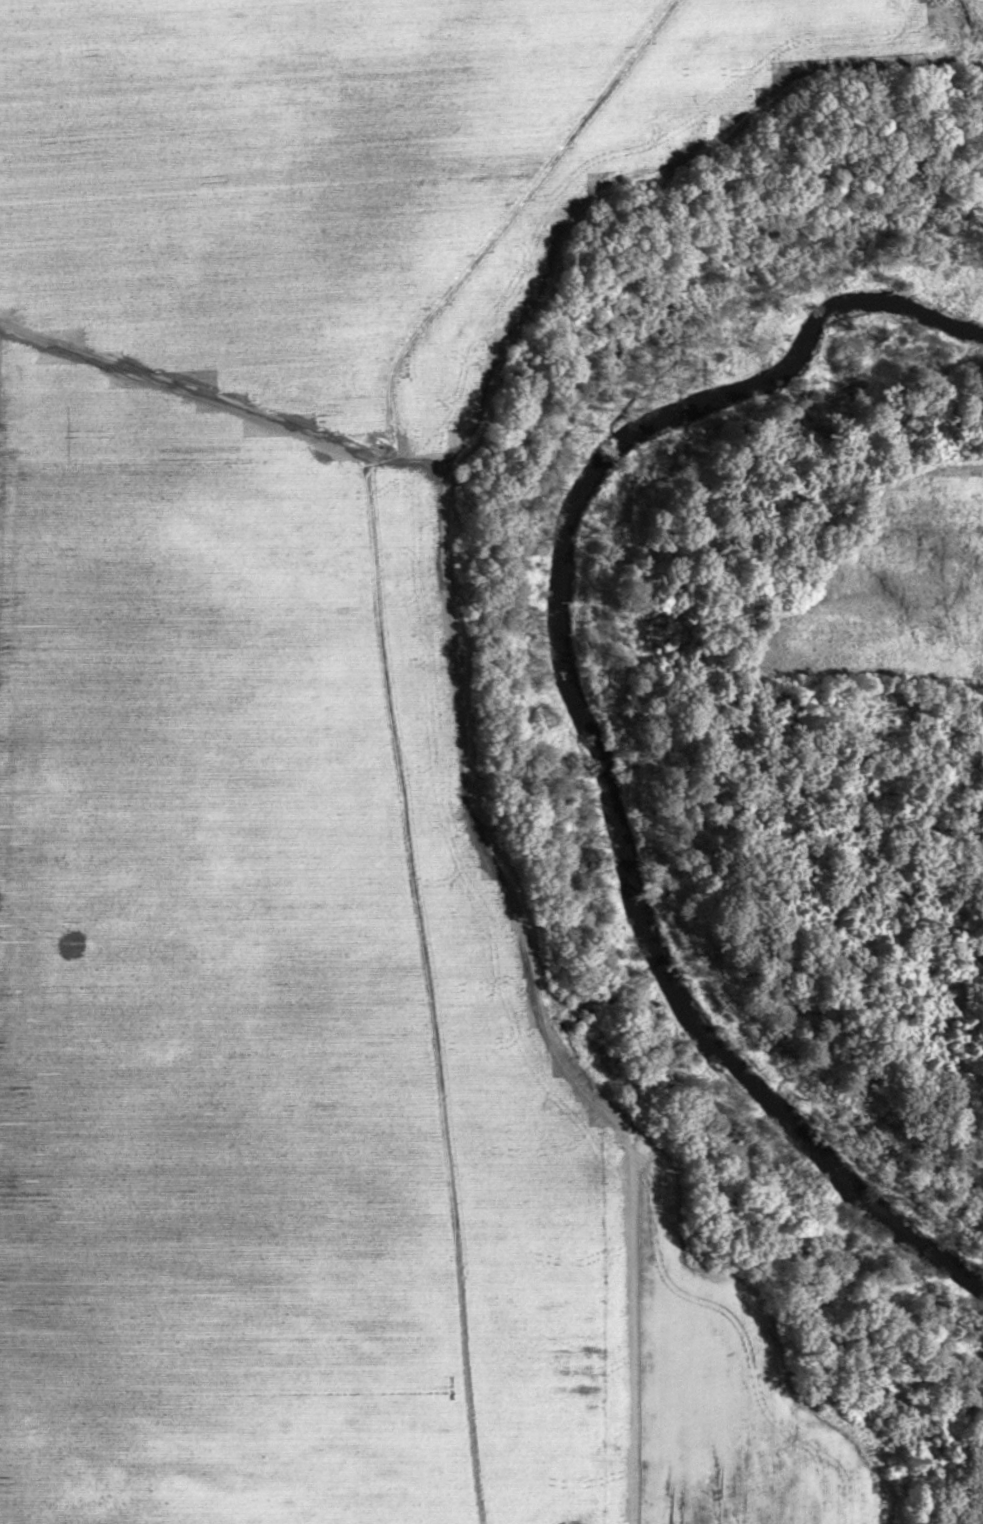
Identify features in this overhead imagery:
road: (514, 355)
river: (586, 715)

